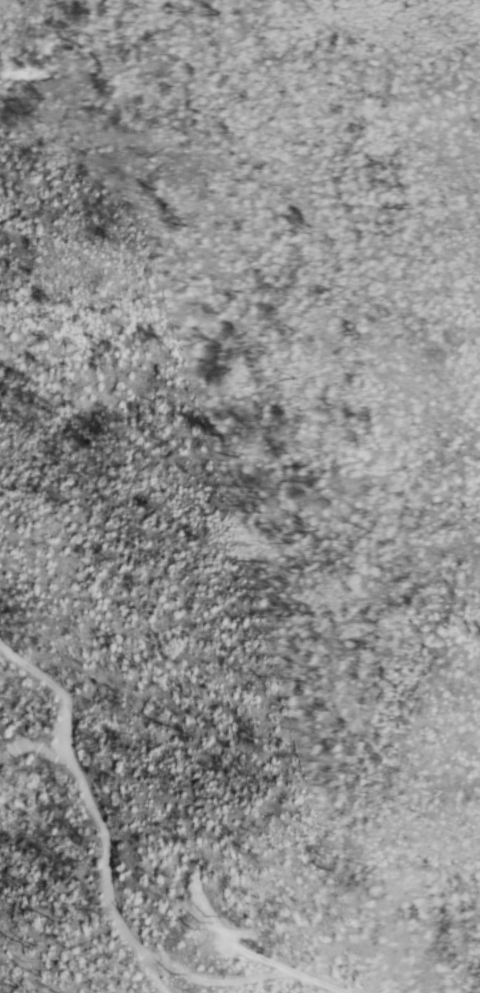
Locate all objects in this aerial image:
power tower: (176, 924)

